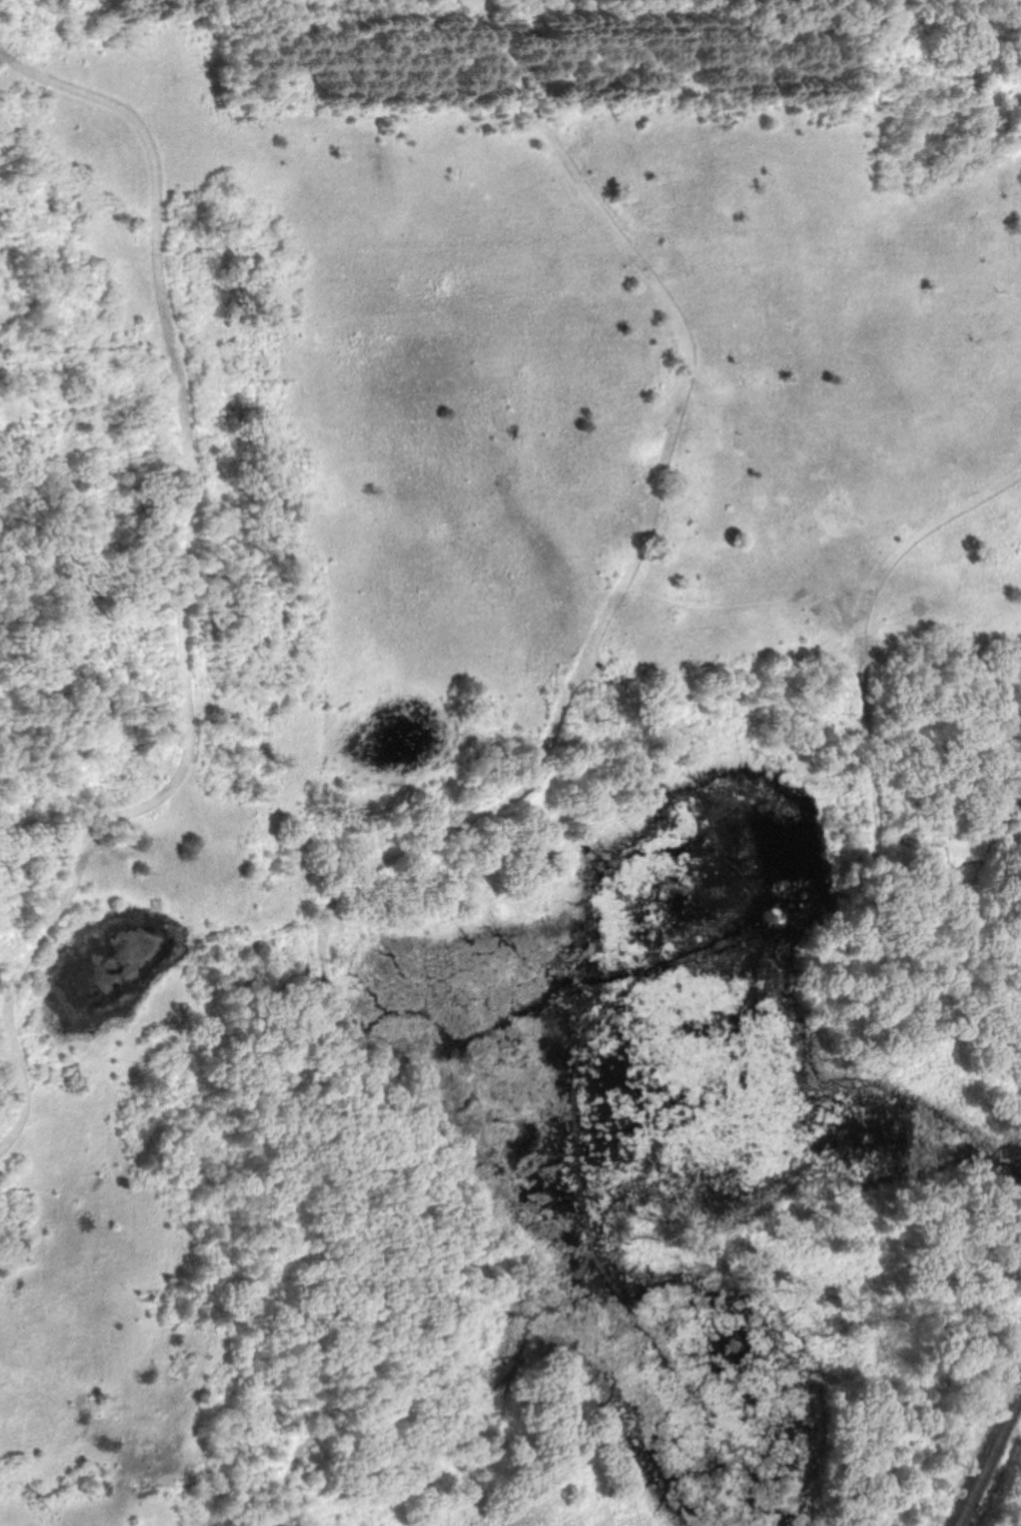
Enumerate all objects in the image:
road: (190, 595)
park: (510, 763)
road: (880, 769)
road: (528, 789)
road: (212, 915)
road: (945, 1385)
railway: (991, 1464)

